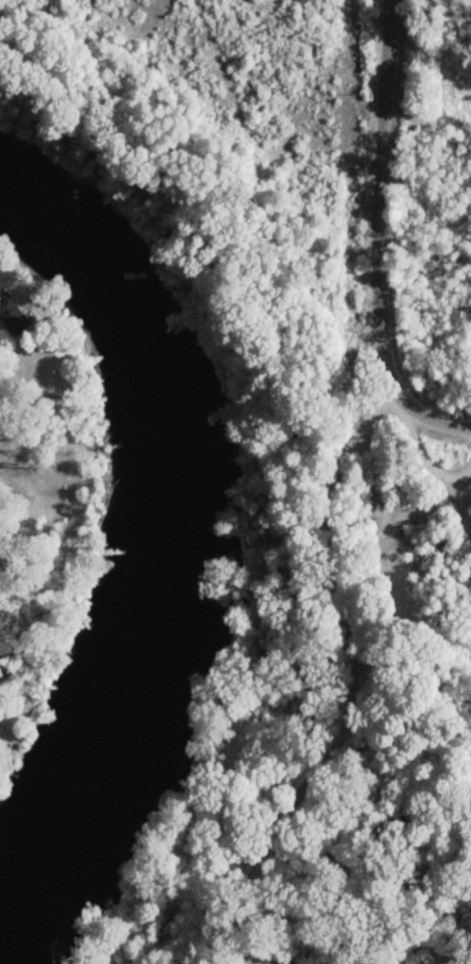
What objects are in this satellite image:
road: (376, 198)
road: (426, 418)
road: (425, 462)
road: (454, 510)
river: (167, 559)
road: (351, 689)

